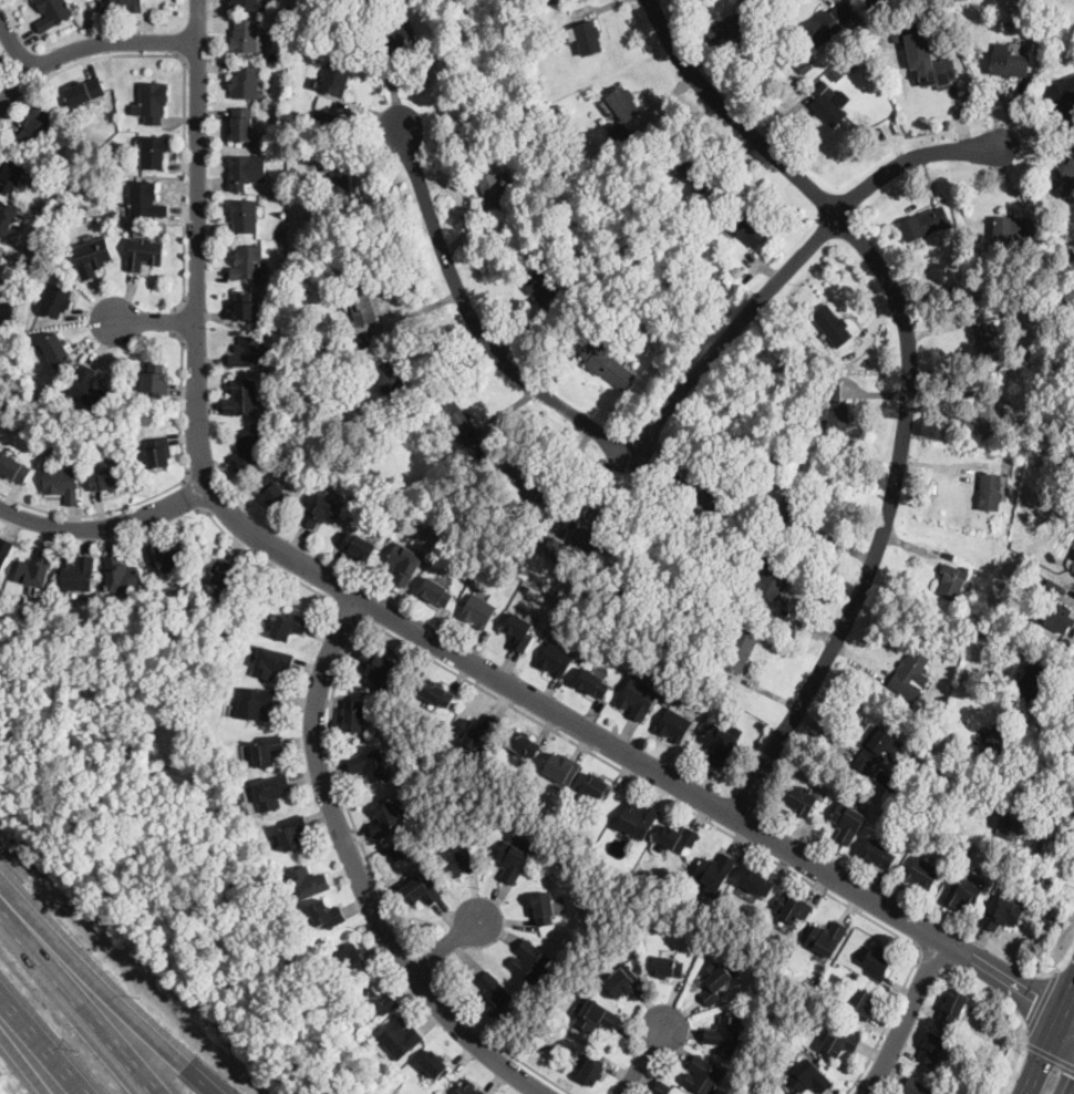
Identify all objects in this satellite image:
building: (874, 3)
building: (128, 4)
building: (248, 4)
building: (370, 10)
building: (54, 13)
building: (832, 23)
building: (734, 24)
building: (897, 35)
building: (245, 37)
building: (586, 37)
building: (397, 38)
road: (13, 44)
road: (89, 44)
building: (850, 64)
building: (1010, 64)
building: (805, 66)
building: (531, 71)
building: (936, 71)
building: (332, 79)
road: (185, 82)
building: (246, 83)
building: (765, 90)
building: (85, 91)
building: (1063, 99)
building: (154, 102)
building: (324, 102)
building: (623, 103)
building: (828, 110)
building: (321, 117)
building: (40, 124)
building: (242, 124)
building: (323, 125)
building: (622, 137)
building: (153, 152)
road: (911, 158)
building: (246, 171)
building: (12, 174)
building: (698, 174)
building: (61, 177)
building: (1065, 182)
building: (493, 189)
building: (339, 192)
building: (145, 199)
building: (245, 215)
building: (7, 217)
building: (925, 224)
building: (1013, 228)
building: (747, 229)
building: (280, 230)
building: (1063, 250)
building: (144, 252)
building: (92, 257)
building: (247, 262)
building: (732, 278)
building: (726, 285)
building: (546, 286)
building: (938, 298)
building: (361, 300)
building: (56, 301)
building: (618, 303)
building: (246, 307)
building: (1058, 310)
road: (177, 322)
road: (151, 323)
building: (833, 326)
building: (988, 342)
building: (58, 351)
building: (248, 352)
building: (785, 360)
building: (608, 364)
building: (1011, 369)
building: (808, 376)
building: (817, 378)
building: (156, 380)
road: (908, 380)
building: (392, 386)
building: (90, 389)
building: (833, 391)
building: (241, 399)
road: (180, 404)
building: (992, 414)
building: (456, 419)
building: (838, 420)
road: (585, 421)
building: (249, 450)
building: (157, 454)
building: (776, 456)
building: (339, 464)
building: (14, 468)
building: (107, 479)
building: (521, 482)
building: (63, 483)
building: (362, 487)
building: (273, 492)
building: (370, 492)
building: (990, 492)
road: (193, 496)
building: (321, 510)
building: (789, 510)
building: (686, 512)
building: (541, 513)
building: (1070, 513)
road: (93, 515)
road: (106, 527)
building: (591, 537)
building: (360, 547)
building: (1013, 547)
building: (558, 549)
building: (4, 553)
building: (164, 559)
road: (269, 563)
building: (404, 564)
building: (37, 569)
building: (79, 575)
building: (121, 575)
building: (225, 575)
building: (952, 581)
building: (772, 582)
building: (527, 587)
building: (717, 587)
building: (435, 592)
building: (988, 599)
building: (1055, 608)
road: (349, 610)
building: (478, 611)
building: (1022, 613)
building: (289, 626)
building: (519, 632)
road: (420, 633)
building: (701, 638)
building: (1014, 646)
building: (736, 652)
building: (555, 660)
building: (271, 662)
building: (913, 668)
building: (376, 669)
building: (166, 673)
road: (1068, 673)
building: (991, 674)
building: (1032, 682)
building: (592, 683)
building: (436, 693)
road: (492, 694)
building: (638, 698)
building: (255, 703)
building: (353, 718)
building: (932, 719)
building: (673, 725)
building: (477, 731)
building: (996, 741)
building: (523, 743)
building: (719, 744)
building: (877, 749)
building: (268, 751)
building: (370, 765)
building: (561, 768)
building: (596, 786)
building: (271, 792)
road: (1042, 793)
building: (802, 801)
building: (238, 804)
building: (384, 819)
building: (637, 819)
building: (847, 822)
building: (1012, 822)
building: (562, 828)
building: (293, 833)
building: (678, 838)
building: (396, 853)
building: (878, 854)
building: (457, 859)
building: (514, 859)
building: (714, 873)
building: (922, 873)
road: (357, 875)
building: (756, 881)
building: (308, 883)
building: (421, 891)
building: (963, 894)
building: (544, 908)
building: (793, 909)
building: (1002, 914)
building: (326, 915)
building: (827, 938)
road: (446, 945)
road: (927, 953)
building: (350, 959)
road: (422, 961)
building: (530, 962)
building: (878, 962)
building: (667, 968)
road: (1065, 977)
building: (622, 981)
building: (714, 982)
building: (493, 994)
traffic signals: (1037, 994)
road: (107, 995)
road: (78, 1002)
building: (378, 1002)
building: (861, 1002)
road: (1043, 1004)
building: (954, 1005)
road: (1071, 1010)
road: (1071, 1014)
building: (596, 1016)
road: (907, 1019)
road: (886, 1023)
building: (729, 1033)
building: (399, 1039)
road: (1026, 1041)
road: (495, 1042)
building: (840, 1042)
building: (551, 1043)
road: (1051, 1044)
road: (40, 1046)
building: (932, 1049)
road: (1050, 1055)
road: (644, 1056)
building: (954, 1059)
road: (23, 1060)
building: (435, 1064)
building: (591, 1072)
building: (703, 1075)
building: (809, 1078)
building: (916, 1087)
building: (467, 1088)
building: (661, 1088)

